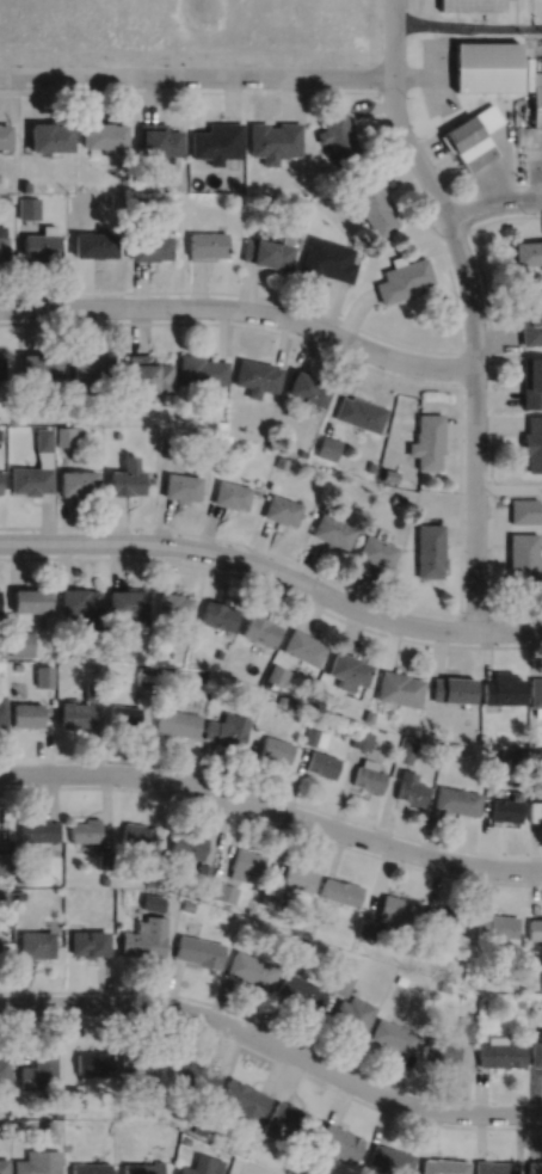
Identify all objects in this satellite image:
building: (470, 4)
road: (467, 26)
building: (485, 64)
road: (196, 74)
building: (536, 97)
building: (100, 134)
building: (4, 135)
building: (338, 135)
building: (470, 135)
building: (47, 136)
building: (158, 140)
building: (273, 140)
building: (216, 141)
building: (172, 158)
road: (537, 174)
road: (528, 183)
building: (24, 185)
building: (168, 198)
building: (266, 198)
building: (138, 201)
road: (493, 202)
building: (371, 205)
building: (27, 207)
building: (39, 242)
building: (93, 244)
building: (205, 245)
building: (2, 246)
building: (148, 246)
building: (526, 251)
building: (266, 252)
building: (327, 259)
road: (445, 259)
building: (404, 278)
road: (470, 306)
road: (241, 308)
building: (530, 320)
road: (234, 322)
building: (38, 365)
building: (1, 367)
building: (91, 367)
road: (460, 367)
building: (201, 370)
building: (147, 374)
building: (257, 376)
building: (531, 382)
building: (308, 388)
road: (491, 406)
building: (359, 413)
building: (16, 419)
building: (218, 423)
building: (79, 430)
building: (0, 434)
building: (117, 434)
building: (64, 436)
building: (226, 437)
building: (43, 440)
building: (427, 441)
building: (164, 443)
building: (532, 443)
building: (327, 447)
building: (301, 453)
building: (281, 462)
building: (370, 466)
building: (389, 475)
building: (125, 478)
building: (29, 480)
building: (0, 482)
building: (75, 482)
building: (179, 486)
building: (229, 494)
building: (396, 499)
building: (281, 510)
building: (523, 510)
building: (331, 531)
building: (430, 551)
building: (376, 552)
building: (521, 559)
road: (275, 570)
road: (343, 584)
road: (273, 586)
building: (31, 597)
building: (81, 602)
building: (129, 603)
building: (173, 603)
building: (218, 613)
road: (475, 614)
building: (260, 627)
building: (20, 640)
building: (303, 644)
building: (218, 651)
building: (170, 652)
building: (17, 664)
building: (350, 668)
building: (166, 669)
building: (277, 671)
building: (147, 674)
building: (266, 681)
building: (220, 684)
building: (400, 686)
building: (454, 687)
building: (504, 687)
building: (96, 689)
building: (536, 692)
building: (321, 693)
building: (282, 697)
building: (2, 711)
building: (74, 711)
building: (25, 712)
building: (125, 713)
building: (394, 713)
building: (370, 714)
building: (178, 720)
building: (228, 727)
building: (315, 734)
building: (362, 737)
building: (277, 746)
building: (455, 746)
building: (407, 750)
building: (519, 754)
building: (322, 762)
building: (370, 774)
building: (412, 786)
road: (272, 794)
building: (456, 798)
building: (507, 806)
road: (272, 809)
building: (535, 809)
road: (272, 822)
building: (38, 828)
building: (85, 828)
building: (137, 836)
building: (187, 842)
building: (103, 856)
building: (152, 860)
building: (4, 861)
building: (246, 862)
building: (202, 871)
building: (21, 874)
building: (298, 875)
building: (104, 878)
building: (149, 878)
building: (223, 890)
building: (340, 890)
building: (4, 892)
building: (201, 892)
building: (18, 893)
building: (270, 893)
building: (150, 899)
building: (187, 903)
building: (388, 916)
building: (444, 918)
building: (498, 923)
building: (535, 927)
building: (143, 936)
building: (87, 941)
building: (35, 942)
building: (301, 942)
building: (198, 949)
building: (251, 969)
building: (401, 978)
building: (343, 982)
building: (444, 985)
building: (300, 990)
building: (521, 1001)
building: (353, 1013)
building: (467, 1026)
road: (275, 1028)
building: (394, 1034)
road: (273, 1043)
building: (443, 1049)
building: (536, 1051)
building: (501, 1052)
road: (273, 1057)
building: (93, 1062)
building: (137, 1068)
building: (5, 1069)
building: (39, 1070)
building: (195, 1074)
building: (70, 1096)
building: (244, 1101)
building: (56, 1111)
building: (289, 1119)
building: (204, 1124)
building: (109, 1125)
building: (48, 1126)
building: (166, 1132)
building: (185, 1139)
building: (338, 1143)
building: (390, 1160)
building: (38, 1162)
building: (4, 1166)
building: (202, 1166)
building: (444, 1166)
building: (143, 1167)
building: (495, 1167)
building: (535, 1167)
building: (91, 1168)
building: (290, 1170)
building: (303, 1170)

